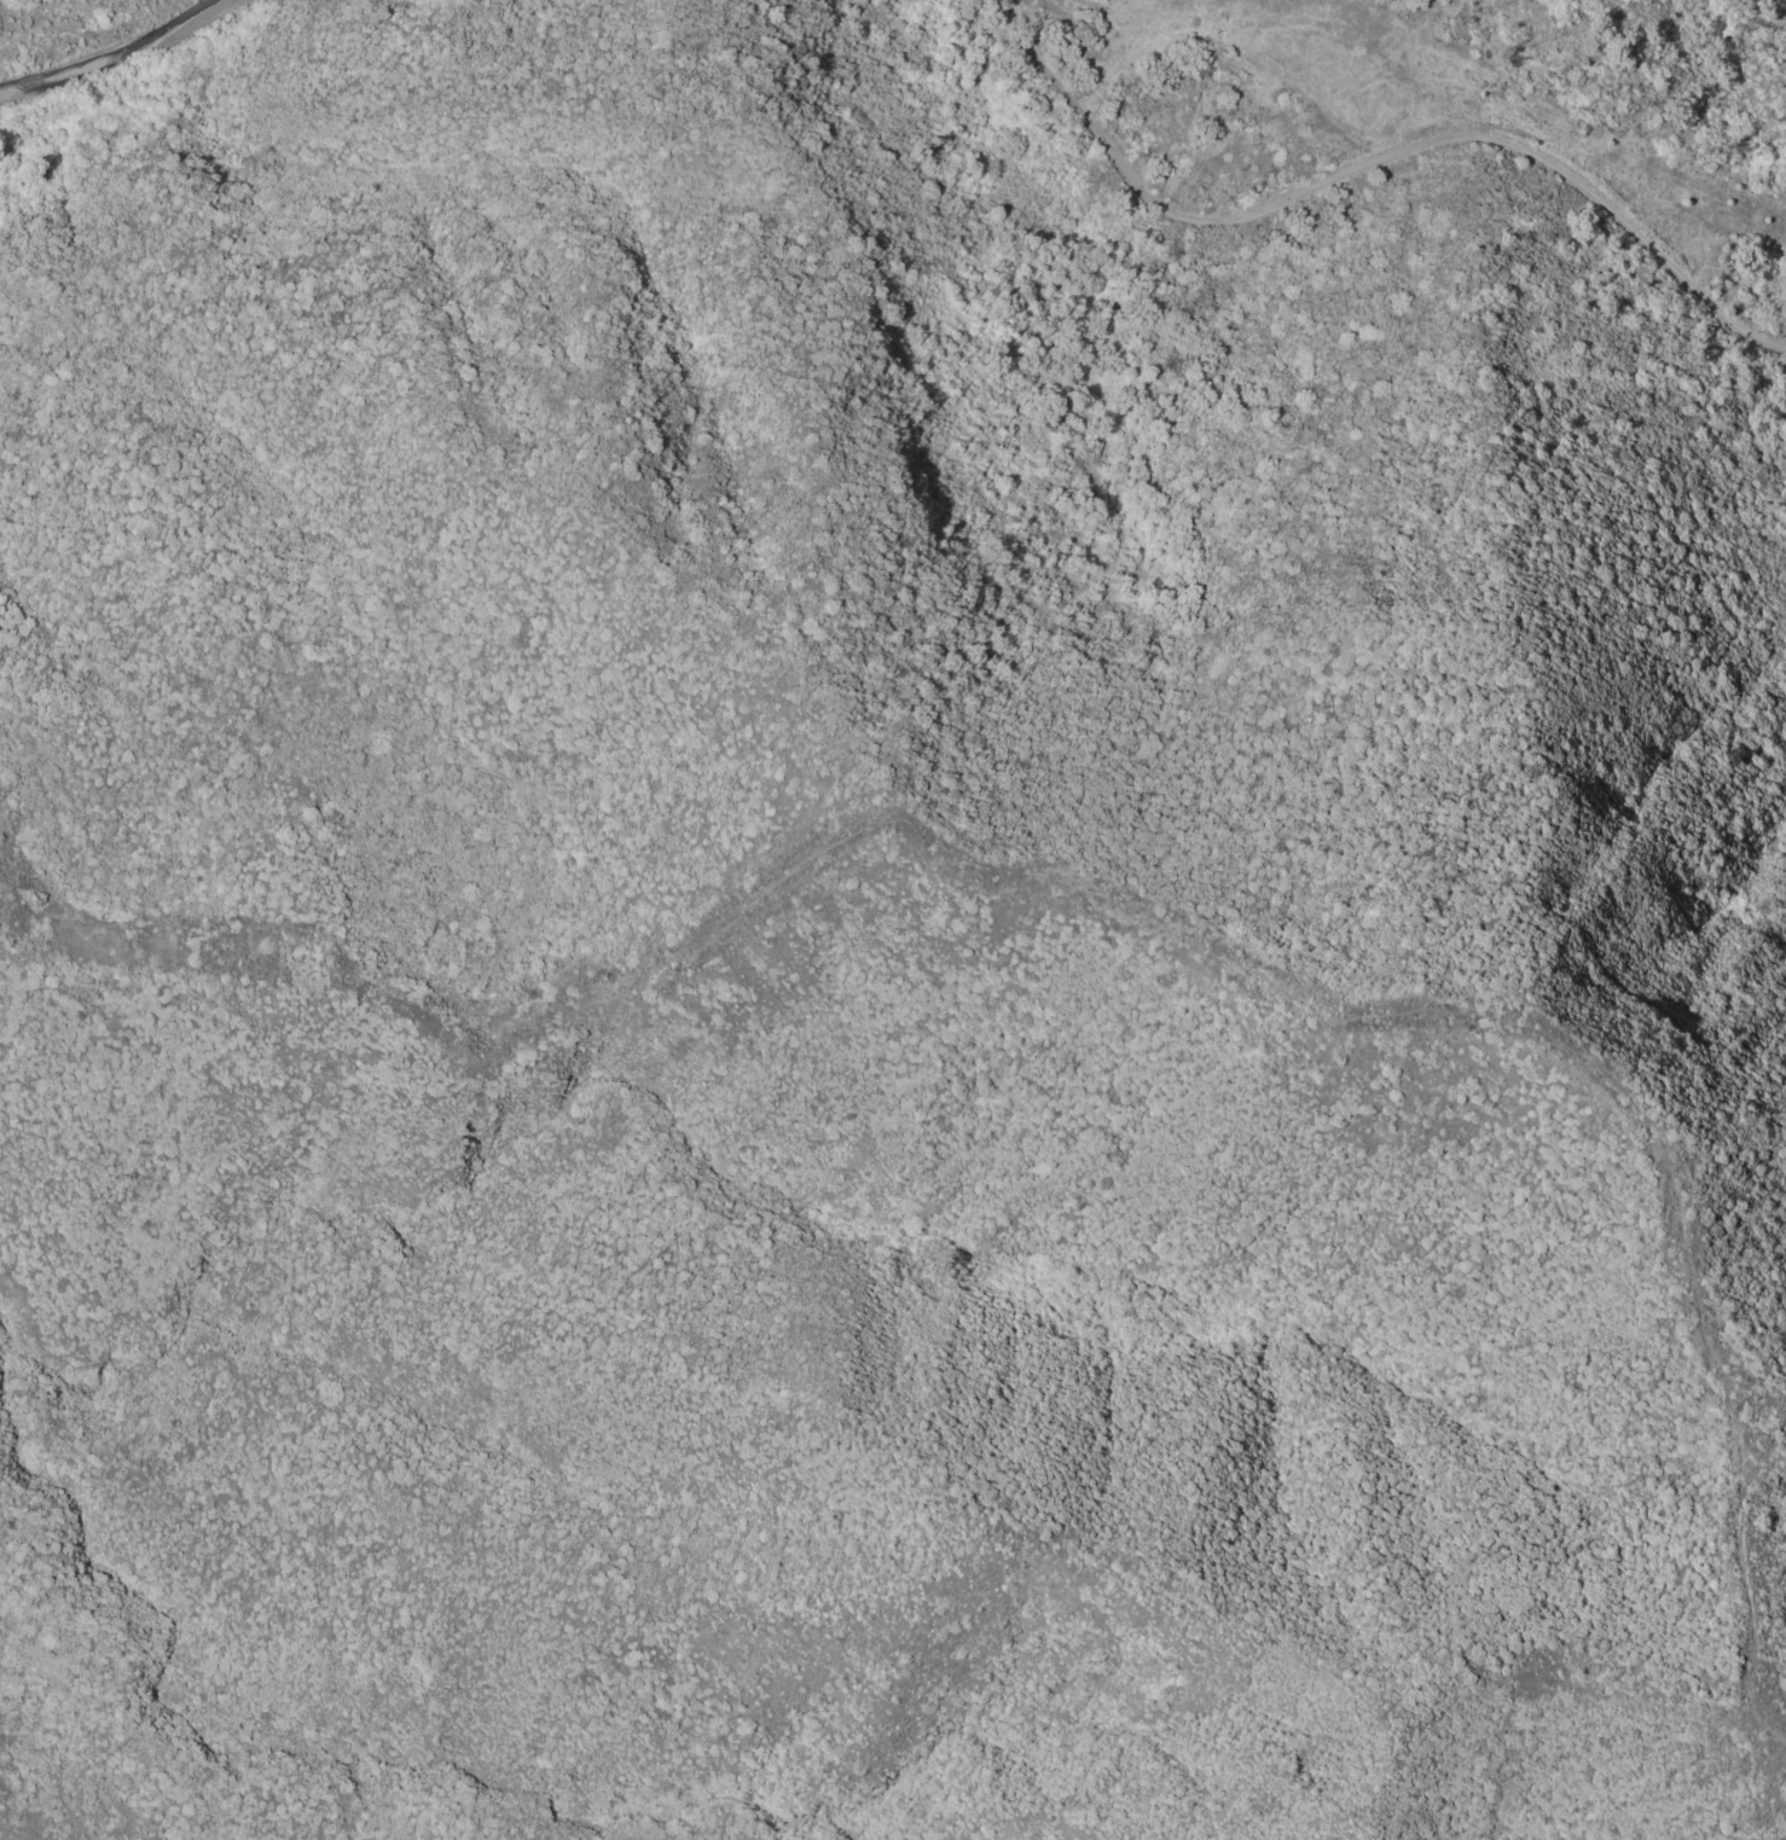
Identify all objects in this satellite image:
road: (111, 52)
road: (1380, 156)

